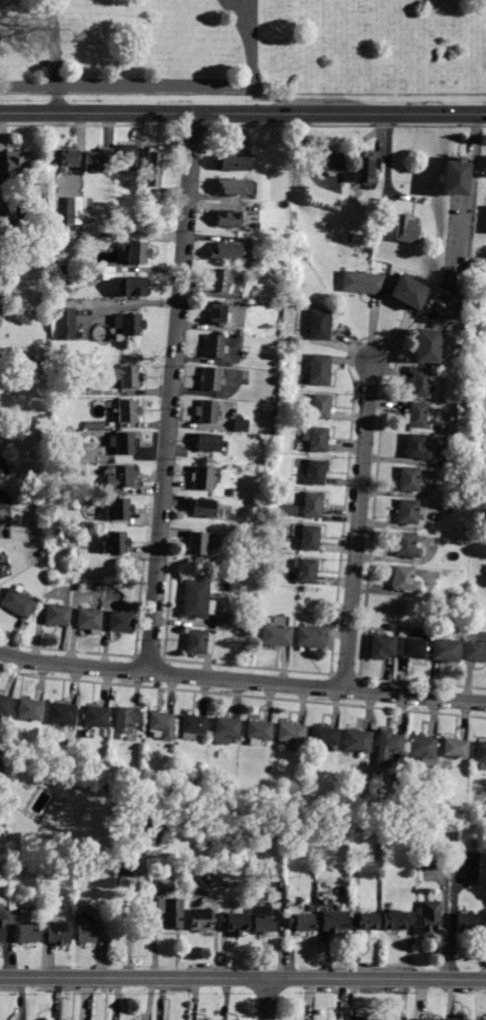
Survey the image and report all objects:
road: (240, 10)
road: (54, 42)
park: (243, 57)
road: (167, 86)
road: (242, 114)
building: (66, 157)
building: (98, 160)
building: (125, 160)
building: (330, 162)
building: (233, 164)
building: (15, 166)
building: (365, 168)
building: (153, 170)
building: (456, 177)
building: (234, 187)
building: (0, 198)
road: (468, 202)
building: (164, 206)
building: (10, 208)
building: (75, 211)
building: (228, 219)
building: (384, 224)
building: (408, 230)
building: (90, 238)
building: (11, 245)
building: (135, 251)
building: (226, 251)
building: (93, 273)
building: (219, 280)
building: (363, 282)
building: (136, 287)
building: (409, 291)
building: (0, 303)
building: (216, 313)
building: (44, 318)
building: (129, 323)
building: (66, 324)
building: (319, 325)
building: (214, 346)
building: (428, 346)
building: (319, 369)
building: (126, 378)
building: (211, 379)
building: (421, 384)
road: (171, 393)
building: (320, 406)
building: (128, 411)
building: (207, 412)
building: (418, 414)
building: (240, 424)
building: (94, 425)
building: (44, 435)
building: (315, 439)
building: (123, 443)
building: (210, 443)
building: (417, 446)
building: (60, 456)
building: (58, 471)
building: (315, 472)
building: (120, 476)
building: (201, 477)
building: (409, 479)
building: (312, 505)
building: (203, 507)
building: (469, 508)
building: (118, 510)
building: (289, 510)
building: (407, 511)
road: (359, 526)
building: (309, 538)
building: (114, 543)
building: (198, 543)
building: (406, 545)
building: (307, 571)
building: (0, 576)
building: (404, 579)
building: (195, 598)
building: (17, 603)
building: (58, 615)
building: (89, 618)
building: (122, 621)
building: (222, 625)
building: (393, 628)
building: (276, 635)
building: (311, 637)
building: (199, 642)
building: (382, 646)
building: (475, 646)
building: (445, 648)
building: (412, 649)
road: (242, 682)
building: (5, 705)
building: (30, 710)
building: (62, 714)
building: (96, 717)
building: (125, 719)
building: (161, 725)
building: (192, 725)
building: (225, 730)
building: (258, 732)
building: (291, 733)
building: (324, 736)
building: (357, 741)
building: (386, 747)
building: (455, 748)
building: (422, 749)
building: (481, 755)
building: (2, 758)
building: (52, 781)
building: (157, 833)
building: (454, 836)
building: (476, 857)
building: (124, 866)
building: (81, 871)
building: (170, 912)
building: (429, 917)
building: (261, 919)
building: (200, 920)
building: (299, 920)
building: (398, 920)
road: (128, 921)
building: (364, 921)
building: (485, 921)
building: (333, 922)
building: (466, 922)
building: (235, 923)
building: (2, 930)
building: (58, 933)
building: (27, 934)
building: (86, 934)
road: (243, 979)
road: (268, 999)
building: (459, 1017)
building: (399, 1018)
building: (201, 1019)
building: (429, 1019)
building: (481, 1019)

